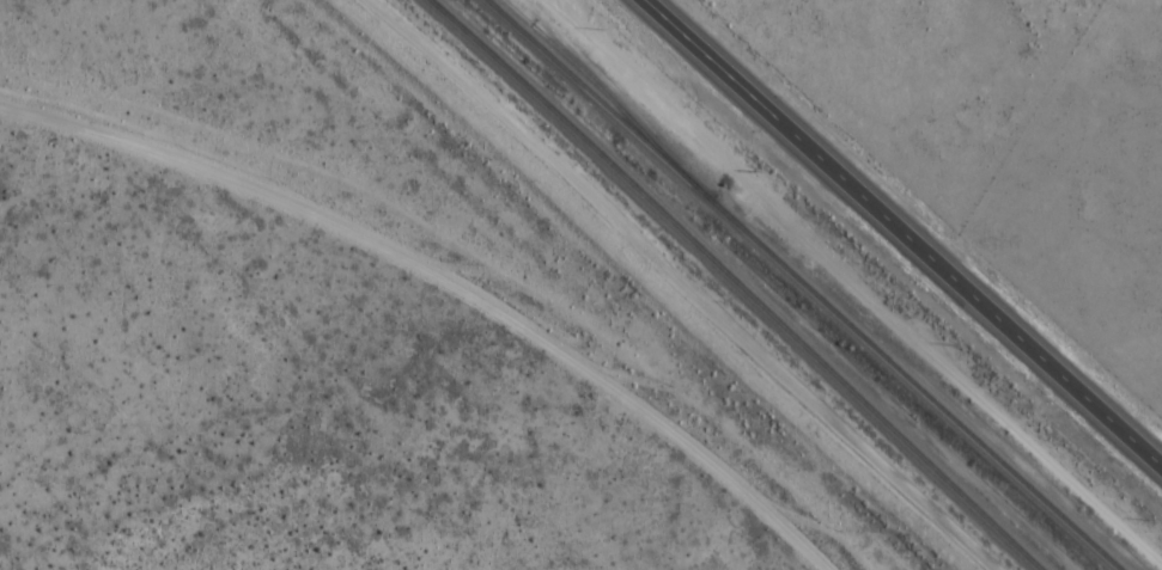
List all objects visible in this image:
railway: (617, 94)
road: (1035, 131)
road: (909, 227)
railway: (748, 284)
railway: (822, 284)
road: (427, 289)

